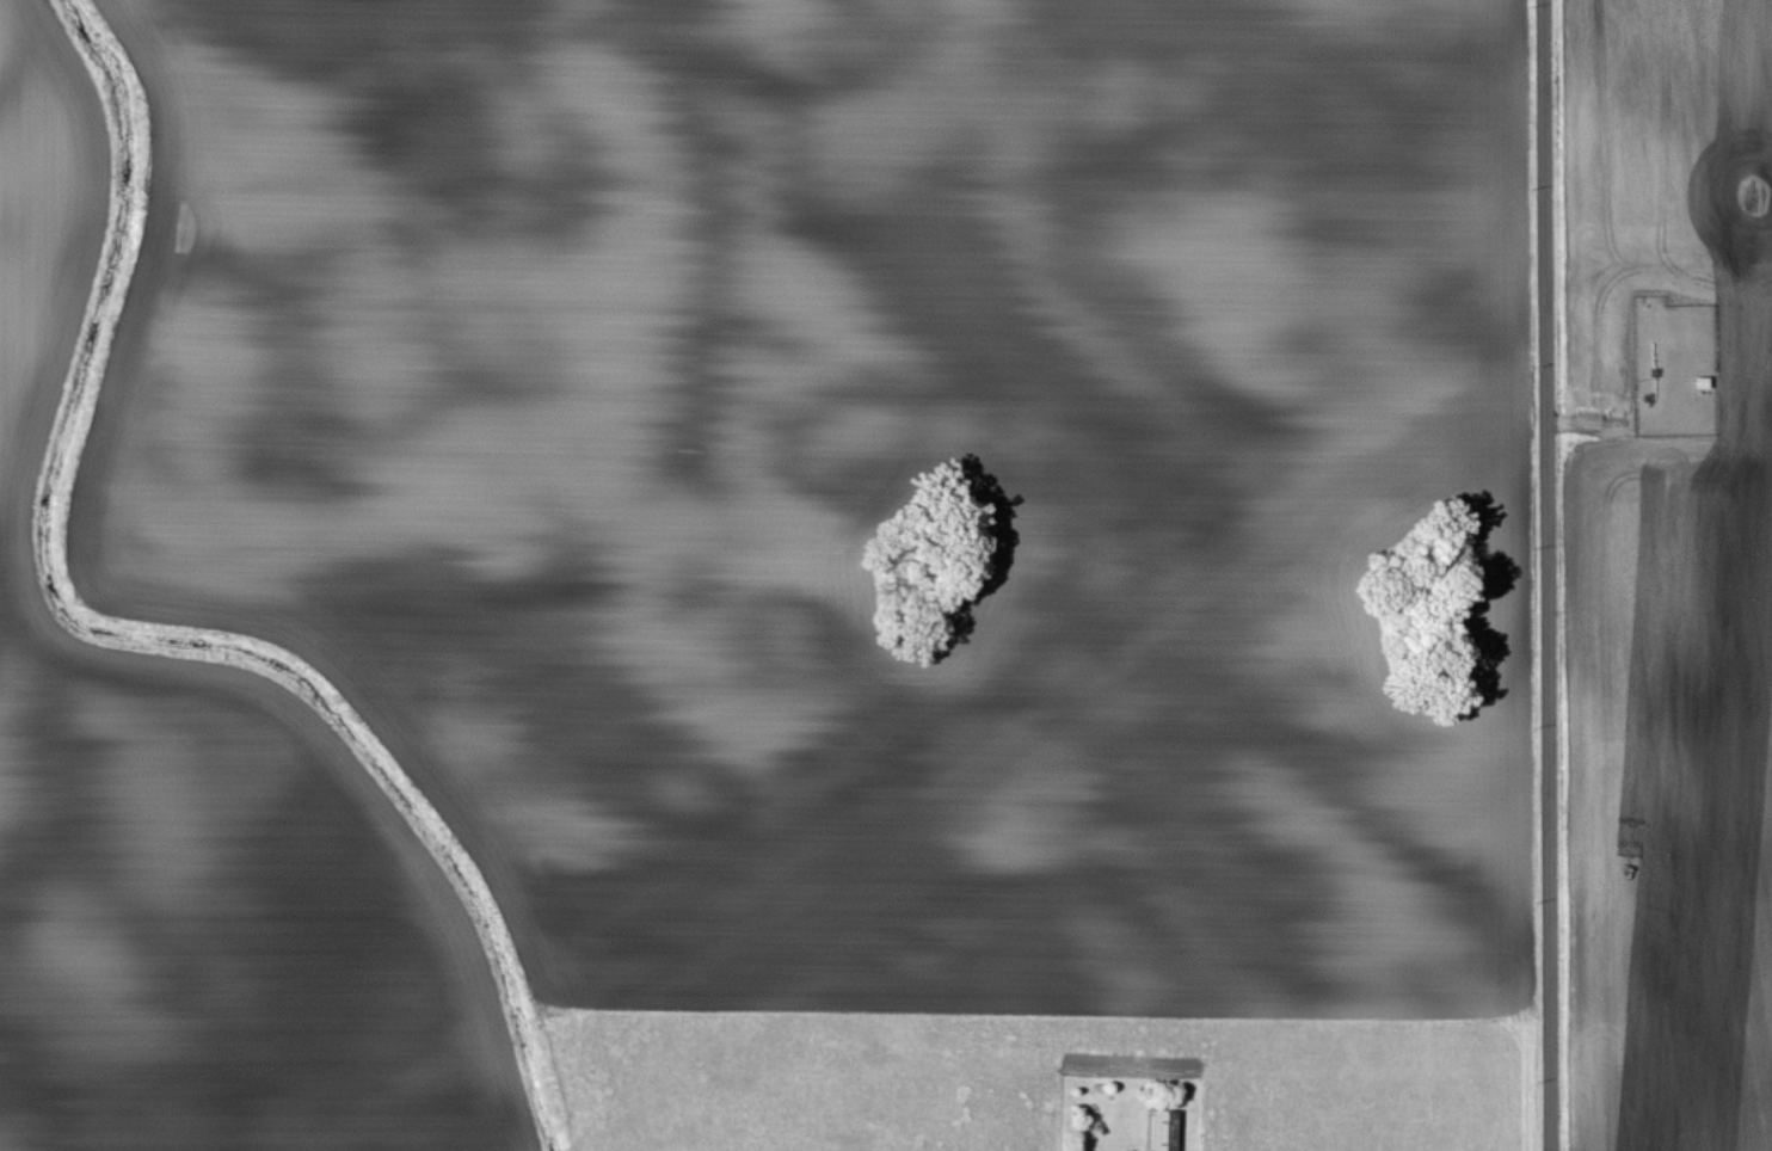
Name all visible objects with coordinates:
road: (1546, 574)
building: (1162, 1131)

